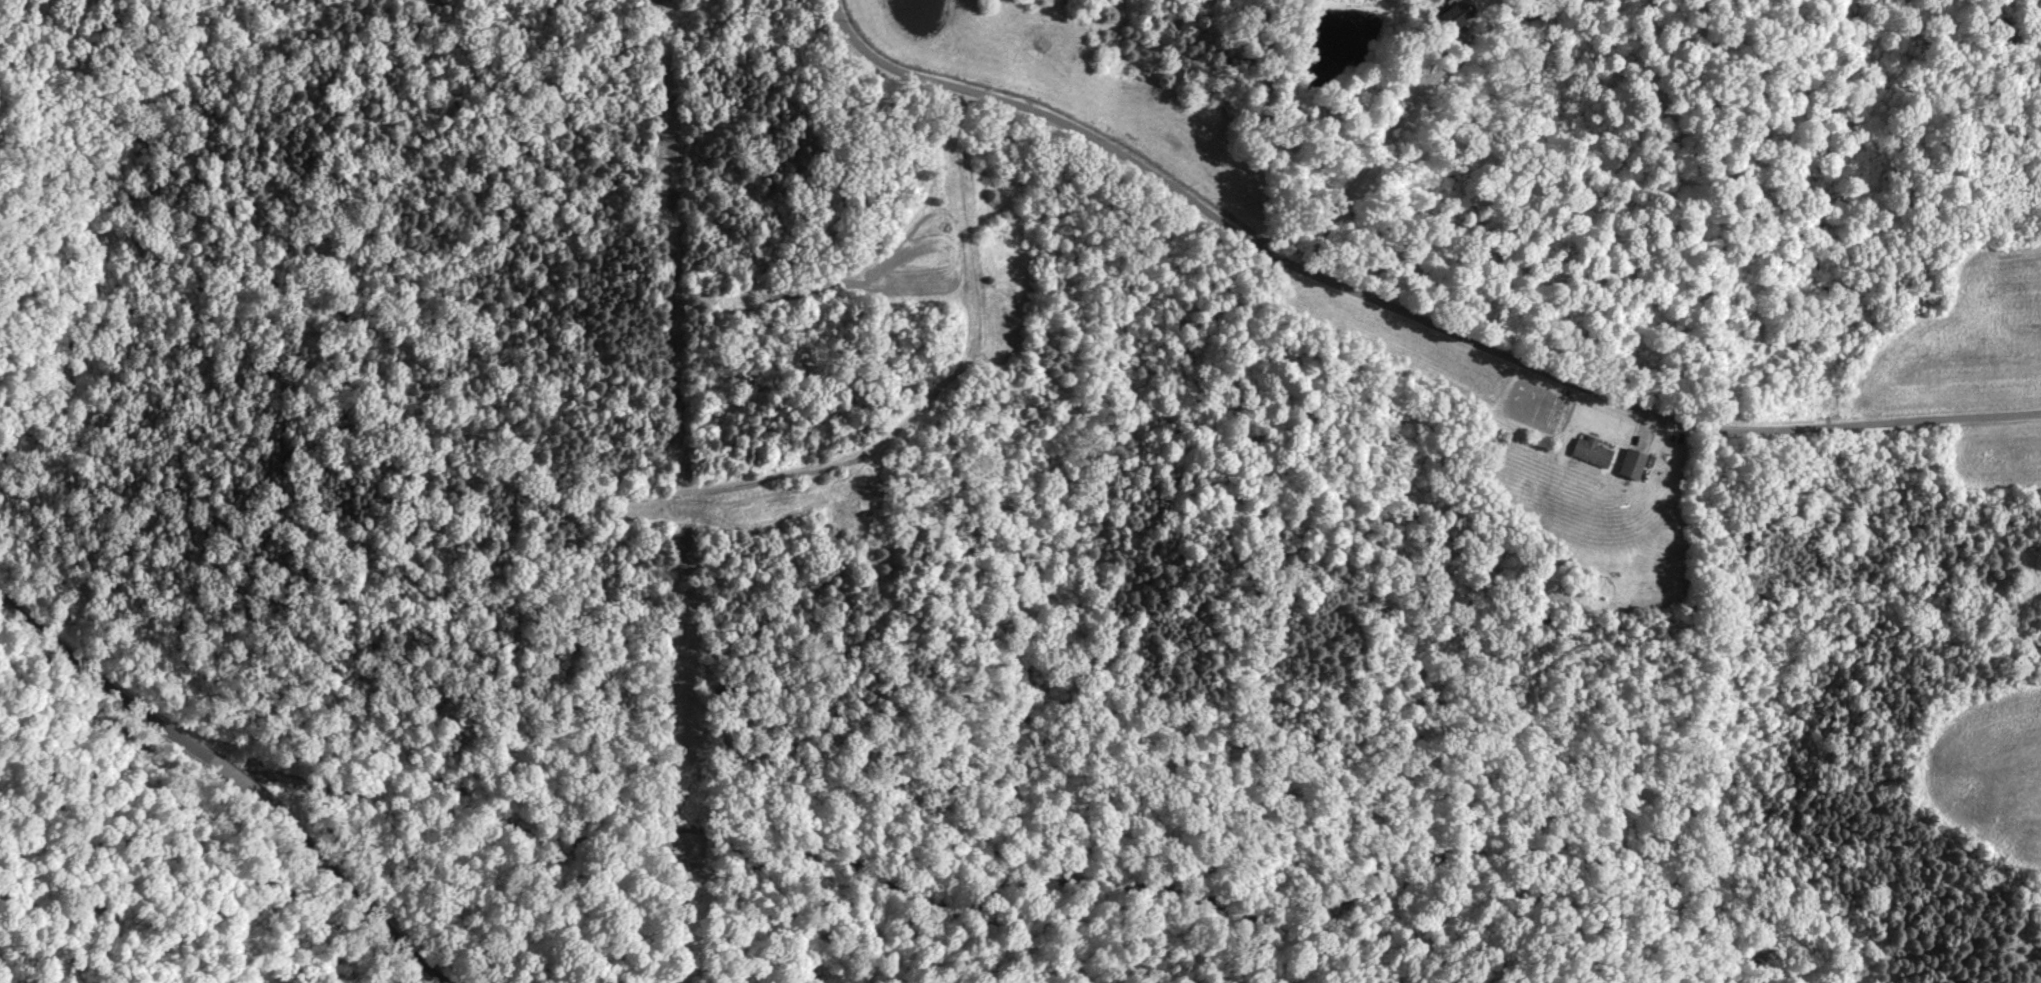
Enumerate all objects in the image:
building: (1446, 22)
road: (1372, 164)
road: (1402, 309)
building: (1587, 458)
building: (1626, 471)
road: (238, 770)

